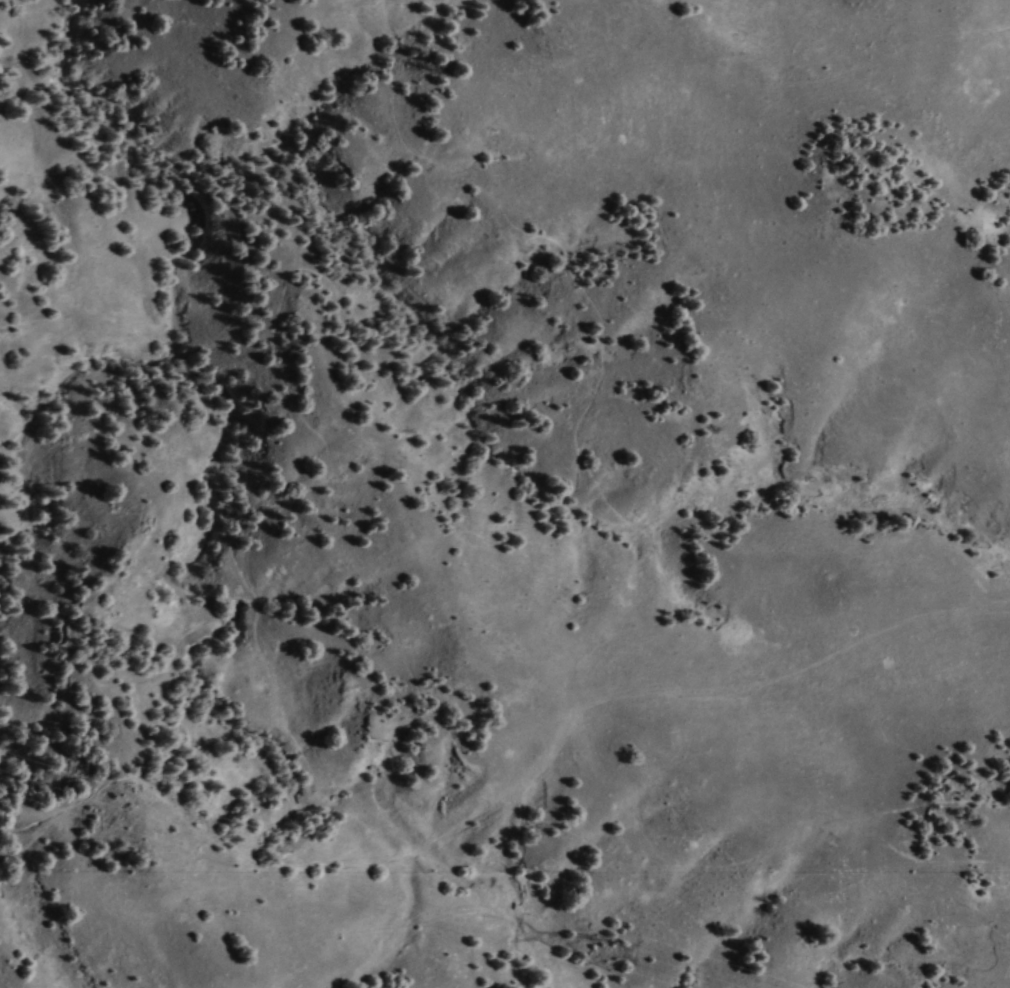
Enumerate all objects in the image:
power tower: (607, 951)

